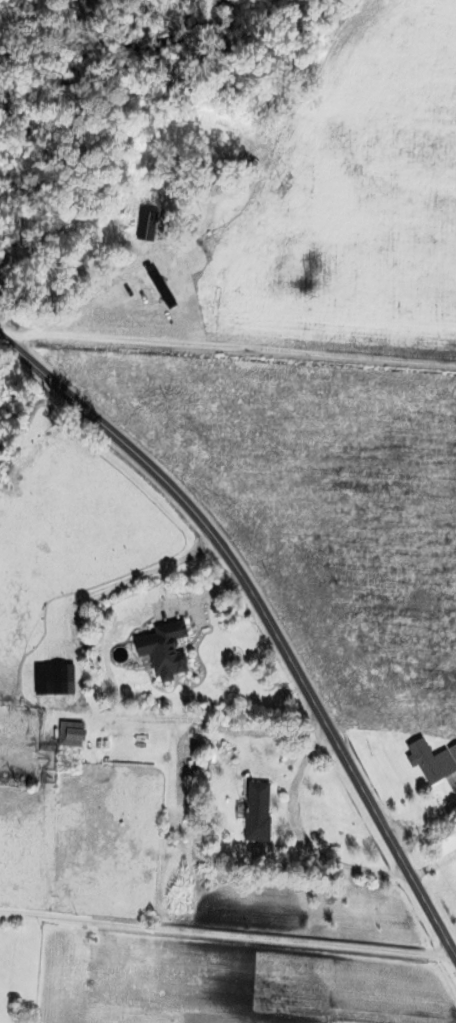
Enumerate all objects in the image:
road: (152, 247)
road: (230, 345)
road: (265, 621)
building: (162, 650)
building: (68, 737)
building: (427, 761)
building: (253, 812)
building: (453, 835)

